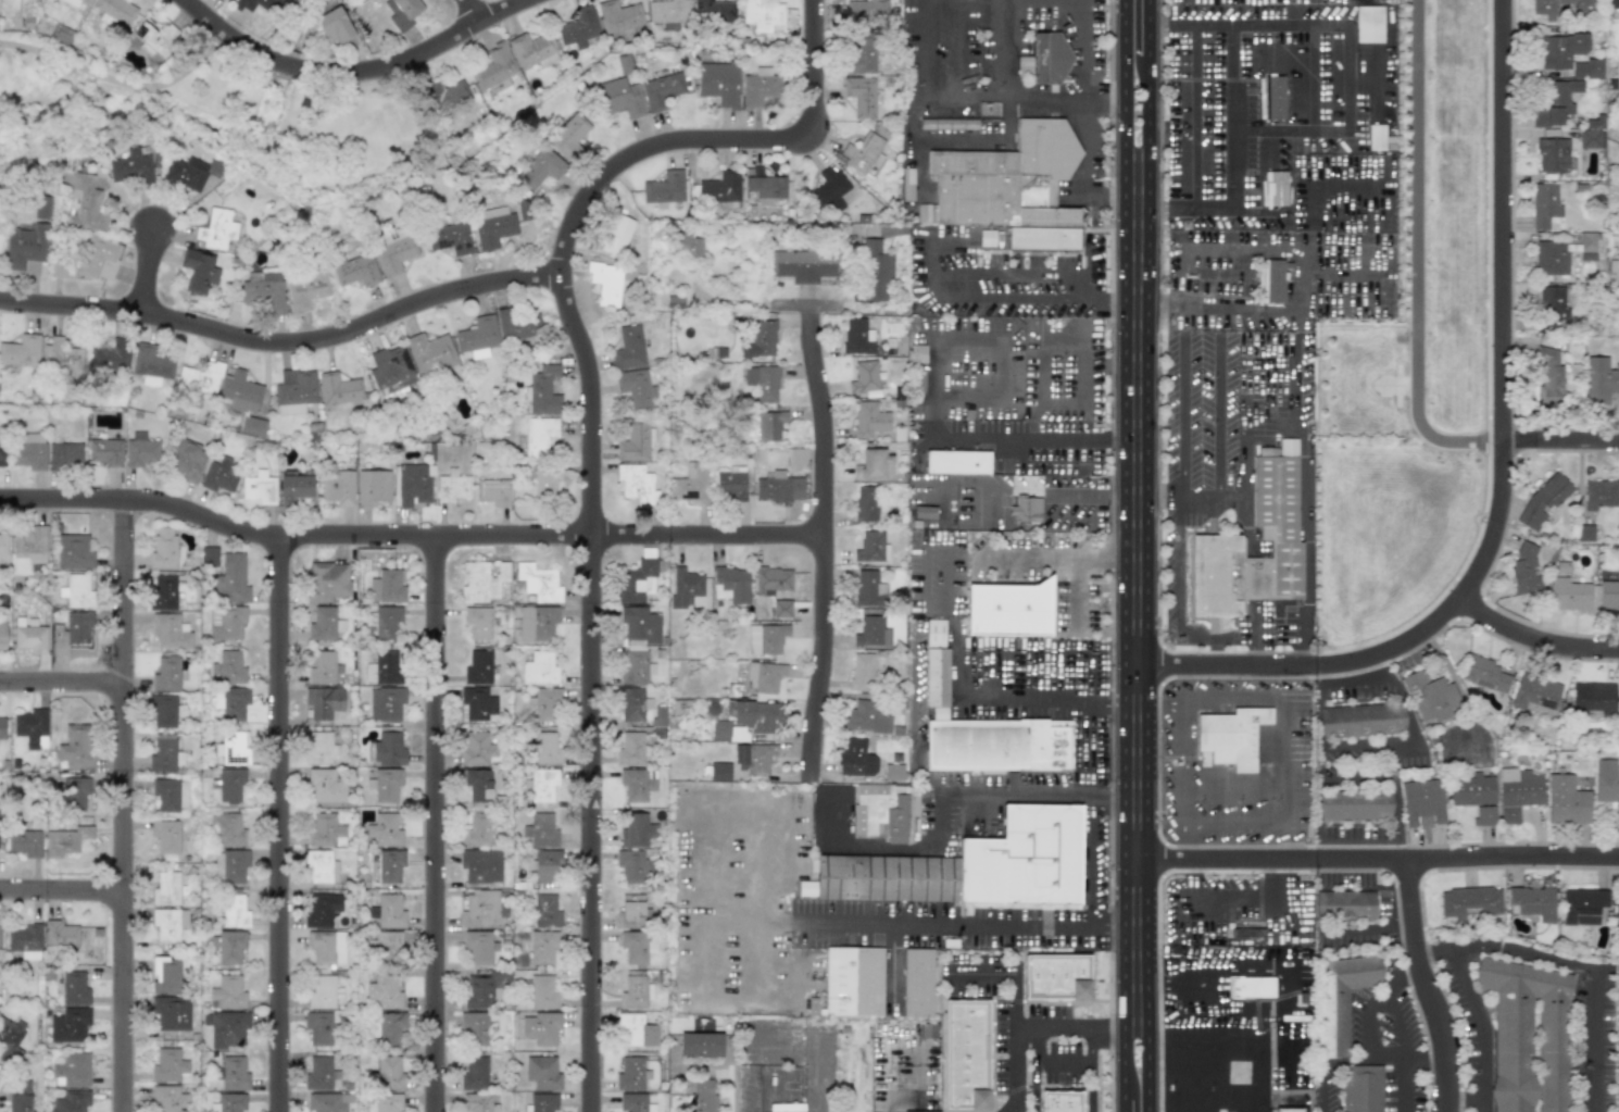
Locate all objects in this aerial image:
building: (77, 2)
building: (258, 4)
building: (1612, 4)
building: (1543, 8)
building: (115, 10)
road: (470, 10)
building: (714, 11)
building: (402, 12)
building: (669, 12)
building: (867, 13)
building: (763, 14)
building: (618, 16)
building: (1369, 24)
road: (1169, 25)
road: (1146, 26)
building: (334, 27)
building: (579, 27)
road: (229, 36)
building: (153, 39)
building: (1561, 49)
building: (532, 50)
road: (421, 52)
building: (858, 54)
building: (1050, 58)
building: (1025, 65)
road: (292, 66)
building: (494, 70)
road: (1084, 70)
building: (1586, 70)
road: (915, 73)
road: (1193, 79)
road: (1225, 79)
building: (718, 84)
road: (120, 86)
building: (761, 87)
building: (661, 90)
road: (1011, 95)
building: (861, 96)
road: (979, 96)
road: (1317, 96)
building: (448, 97)
building: (1275, 97)
building: (620, 98)
building: (1555, 102)
park: (221, 112)
road: (1212, 134)
road: (1310, 134)
road: (1363, 134)
building: (568, 136)
building: (1378, 137)
building: (1591, 138)
road: (715, 139)
building: (862, 153)
building: (1553, 154)
building: (131, 167)
building: (540, 168)
building: (190, 172)
building: (907, 184)
building: (763, 186)
building: (1012, 186)
building: (665, 188)
road: (1253, 188)
building: (1273, 188)
building: (828, 192)
building: (86, 204)
building: (1544, 204)
building: (42, 208)
building: (524, 212)
building: (926, 212)
building: (493, 226)
building: (216, 229)
building: (622, 234)
building: (450, 238)
building: (987, 238)
building: (689, 246)
building: (0, 247)
building: (26, 250)
building: (392, 251)
building: (1561, 253)
road: (1415, 255)
building: (89, 261)
road: (1383, 261)
building: (803, 265)
road: (148, 266)
building: (355, 270)
building: (199, 271)
building: (876, 272)
road: (1019, 272)
building: (1270, 280)
building: (608, 285)
building: (305, 290)
building: (265, 292)
road: (972, 298)
building: (1552, 305)
building: (517, 327)
road: (277, 336)
building: (477, 337)
building: (857, 337)
building: (761, 340)
building: (628, 348)
building: (21, 351)
building: (110, 353)
building: (430, 353)
building: (61, 355)
road: (929, 363)
road: (1083, 363)
building: (151, 364)
building: (390, 370)
building: (200, 377)
building: (864, 377)
building: (1548, 377)
building: (1601, 379)
building: (763, 382)
road: (1083, 382)
road: (1045, 387)
building: (338, 389)
building: (636, 389)
building: (542, 390)
building: (294, 391)
building: (240, 392)
road: (1302, 395)
road: (1180, 415)
building: (869, 420)
building: (253, 425)
building: (770, 425)
building: (539, 436)
building: (635, 441)
road: (1559, 442)
building: (140, 450)
building: (29, 451)
building: (105, 452)
building: (2, 453)
building: (65, 455)
building: (188, 460)
road: (1033, 461)
building: (957, 462)
building: (874, 465)
building: (219, 476)
building: (545, 479)
road: (1501, 479)
building: (691, 483)
building: (731, 484)
building: (412, 485)
building: (637, 485)
building: (296, 486)
building: (452, 486)
building: (337, 487)
building: (373, 487)
building: (779, 487)
building: (259, 488)
road: (1029, 488)
building: (493, 491)
building: (1599, 493)
building: (1543, 500)
building: (868, 505)
building: (1025, 509)
building: (923, 511)
building: (1284, 529)
building: (1584, 532)
road: (409, 539)
building: (32, 542)
building: (2, 545)
road: (1126, 546)
building: (871, 547)
building: (163, 549)
road: (824, 550)
building: (74, 552)
road: (1049, 554)
road: (1137, 554)
building: (209, 557)
building: (1524, 570)
building: (231, 578)
building: (771, 580)
building: (327, 582)
building: (482, 582)
building: (637, 582)
road: (1147, 582)
building: (539, 583)
building: (731, 585)
building: (387, 587)
building: (685, 587)
building: (869, 588)
building: (77, 591)
building: (164, 592)
road: (1077, 592)
building: (1567, 594)
building: (1608, 595)
building: (781, 609)
building: (1008, 610)
building: (478, 622)
building: (537, 623)
building: (228, 624)
building: (325, 624)
building: (382, 624)
building: (640, 626)
building: (171, 630)
building: (871, 632)
building: (71, 633)
building: (29, 635)
road: (1257, 635)
road: (1535, 635)
building: (2, 637)
building: (765, 638)
building: (385, 666)
building: (229, 667)
building: (322, 667)
building: (478, 667)
building: (636, 667)
building: (539, 669)
building: (862, 671)
building: (166, 674)
building: (1485, 674)
building: (768, 677)
road: (957, 679)
road: (61, 683)
road: (1355, 683)
road: (590, 686)
building: (1534, 692)
building: (1431, 695)
building: (1592, 698)
building: (322, 703)
building: (478, 703)
road: (1138, 703)
building: (234, 704)
building: (385, 704)
building: (544, 704)
building: (633, 704)
building: (163, 711)
building: (757, 715)
building: (868, 717)
building: (1361, 720)
building: (658, 722)
road: (917, 724)
building: (32, 727)
building: (2, 728)
building: (984, 728)
building: (729, 733)
building: (1231, 736)
road: (1090, 737)
building: (76, 746)
road: (1372, 747)
building: (231, 748)
building: (388, 748)
building: (321, 749)
building: (475, 749)
building: (547, 749)
building: (630, 749)
building: (163, 753)
building: (753, 758)
building: (855, 759)
road: (1182, 766)
building: (719, 772)
building: (893, 772)
building: (1606, 779)
building: (385, 784)
building: (480, 784)
building: (231, 785)
building: (542, 785)
building: (636, 785)
building: (326, 786)
road: (1015, 790)
building: (1470, 790)
building: (1517, 791)
building: (171, 795)
building: (1420, 800)
building: (1566, 800)
road: (1393, 802)
building: (1354, 804)
road: (123, 809)
building: (880, 811)
road: (1316, 812)
building: (1484, 814)
building: (1618, 814)
road: (436, 825)
road: (278, 826)
building: (385, 829)
building: (636, 829)
building: (227, 830)
building: (326, 830)
building: (478, 830)
building: (540, 830)
building: (166, 836)
building: (64, 840)
building: (25, 842)
road: (1373, 859)
building: (234, 865)
building: (388, 865)
building: (481, 865)
building: (321, 866)
building: (632, 866)
building: (969, 866)
building: (547, 867)
road: (62, 889)
building: (166, 889)
road: (1258, 896)
road: (1185, 899)
building: (1469, 900)
building: (1532, 901)
building: (1344, 904)
building: (1582, 904)
building: (632, 907)
building: (234, 909)
building: (323, 909)
building: (481, 909)
building: (388, 911)
building: (545, 911)
building: (1616, 916)
road: (789, 921)
road: (751, 922)
road: (962, 922)
building: (170, 923)
road: (1367, 928)
building: (60, 935)
building: (25, 940)
building: (327, 947)
building: (388, 947)
building: (479, 947)
building: (636, 947)
building: (543, 948)
road: (1531, 953)
road: (889, 970)
road: (1615, 970)
building: (165, 975)
building: (1057, 979)
building: (853, 982)
building: (917, 983)
road: (1427, 986)
building: (1250, 987)
building: (74, 989)
building: (384, 991)
building: (479, 991)
building: (636, 991)
building: (324, 992)
building: (542, 992)
building: (227, 994)
road: (1016, 1004)
road: (1396, 1005)
road: (1474, 1011)
building: (172, 1013)
building: (1338, 1021)
building: (70, 1025)
building: (1520, 1025)
building: (228, 1028)
building: (318, 1028)
building: (390, 1028)
building: (475, 1028)
building: (541, 1028)
road: (1071, 1028)
building: (636, 1030)
road: (1366, 1036)
building: (11, 1038)
building: (1618, 1038)
road: (1597, 1039)
building: (700, 1045)
building: (965, 1054)
road: (1067, 1064)
building: (168, 1065)
road: (1406, 1065)
building: (73, 1070)
building: (542, 1072)
building: (389, 1073)
building: (474, 1073)
building: (630, 1073)
building: (234, 1074)
building: (319, 1074)
building: (1555, 1083)
road: (1036, 1086)
road: (1091, 1088)
building: (1361, 1088)
road: (1323, 1092)
road: (746, 1094)
building: (18, 1096)
building: (703, 1096)
building: (170, 1098)
building: (71, 1101)
building: (325, 1102)
building: (387, 1102)
building: (477, 1102)
building: (543, 1102)
building: (632, 1102)
road: (1127, 1102)
building: (229, 1103)
building: (1060, 1103)
road: (1202, 1108)
building: (1288, 1110)
building: (920, 1111)

